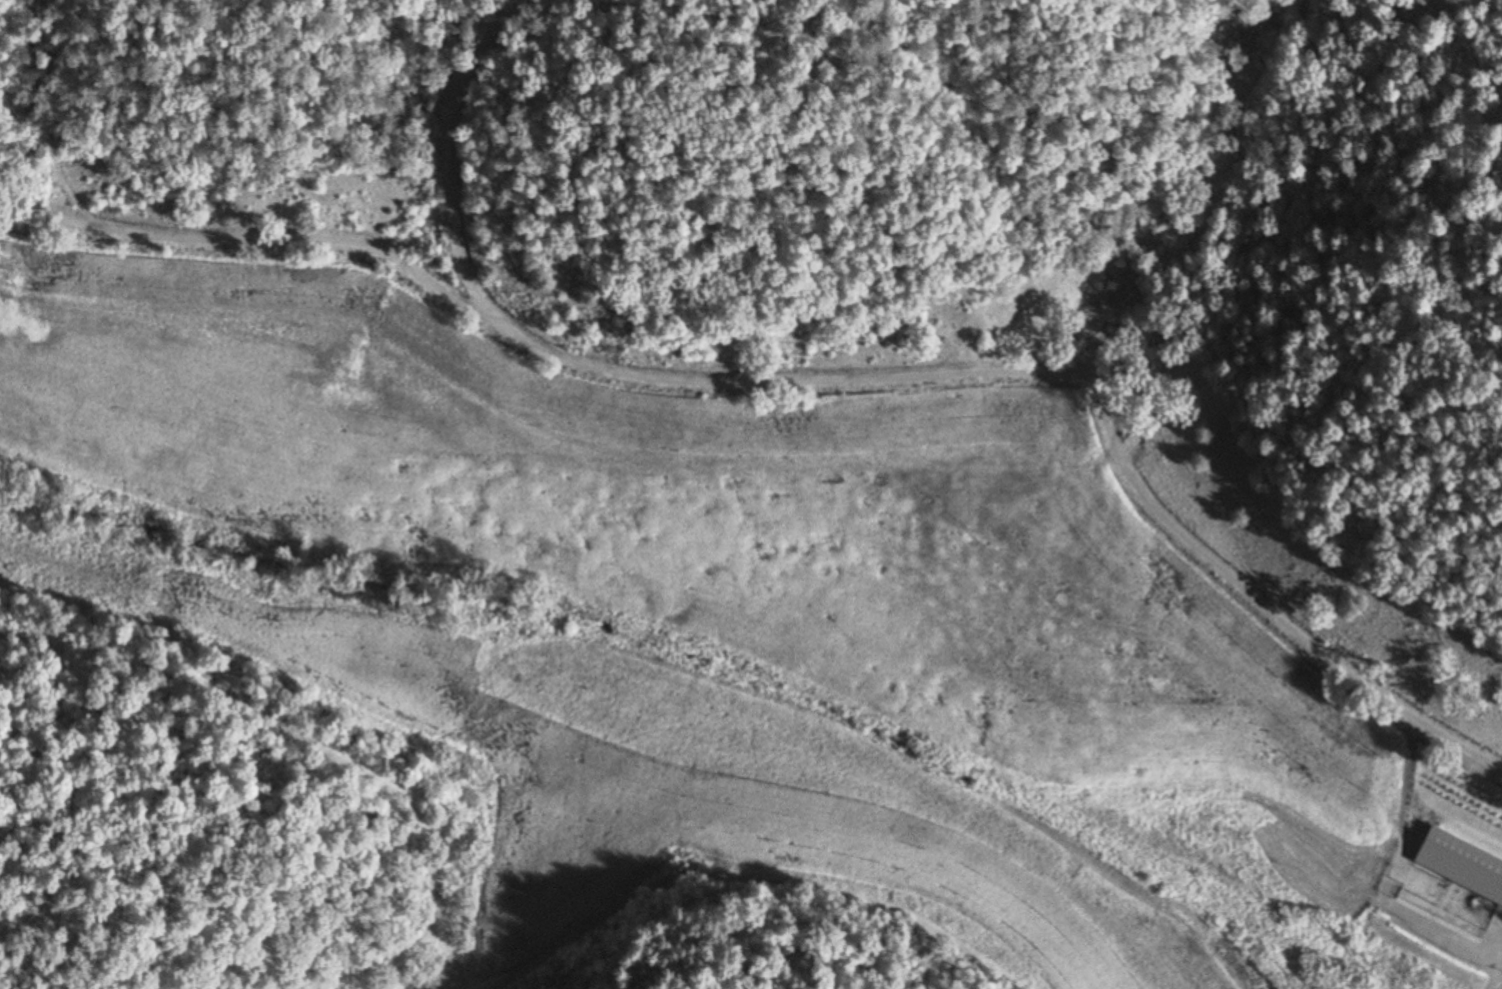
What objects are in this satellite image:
building: (1472, 820)
building: (1491, 880)
building: (1433, 888)
building: (1482, 943)
building: (1458, 962)

